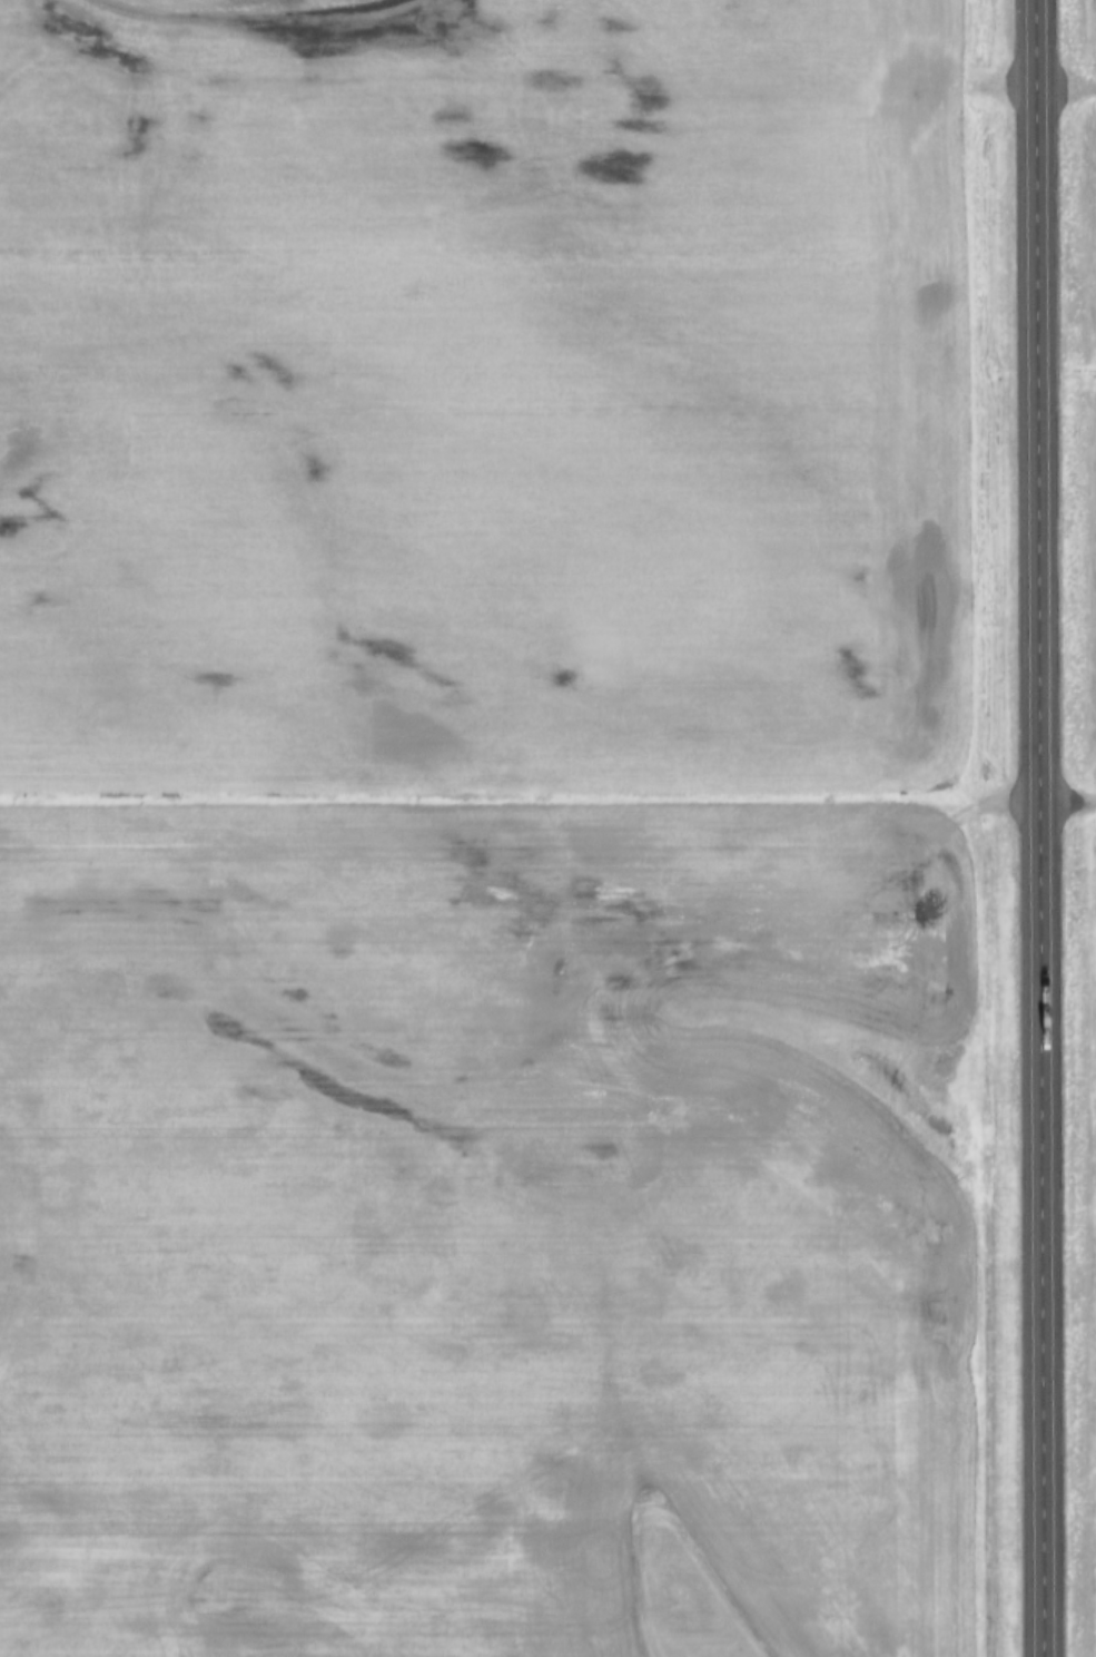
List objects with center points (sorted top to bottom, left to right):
road: (1057, 828)

